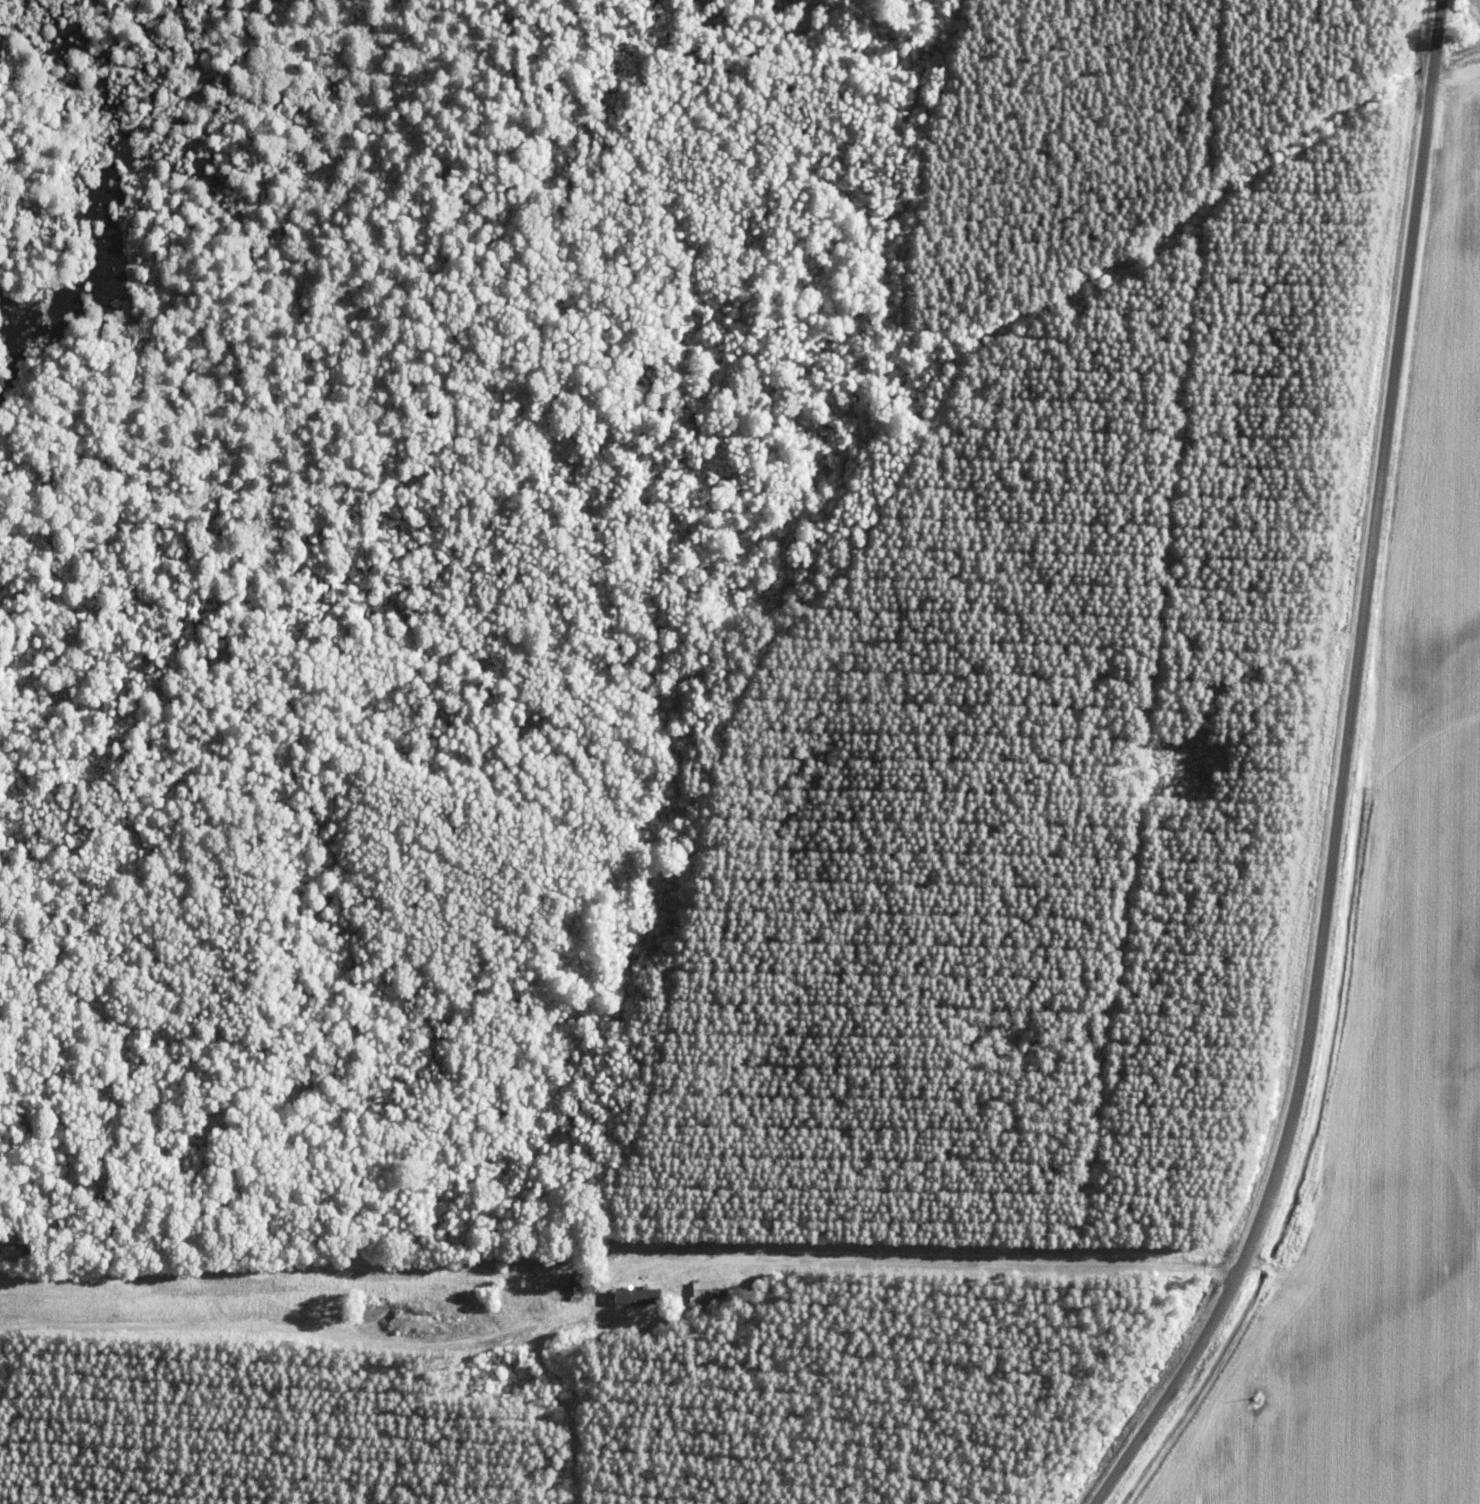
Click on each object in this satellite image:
road: (1336, 779)
road: (731, 1262)
building: (578, 1281)
building: (703, 1289)
building: (632, 1294)

